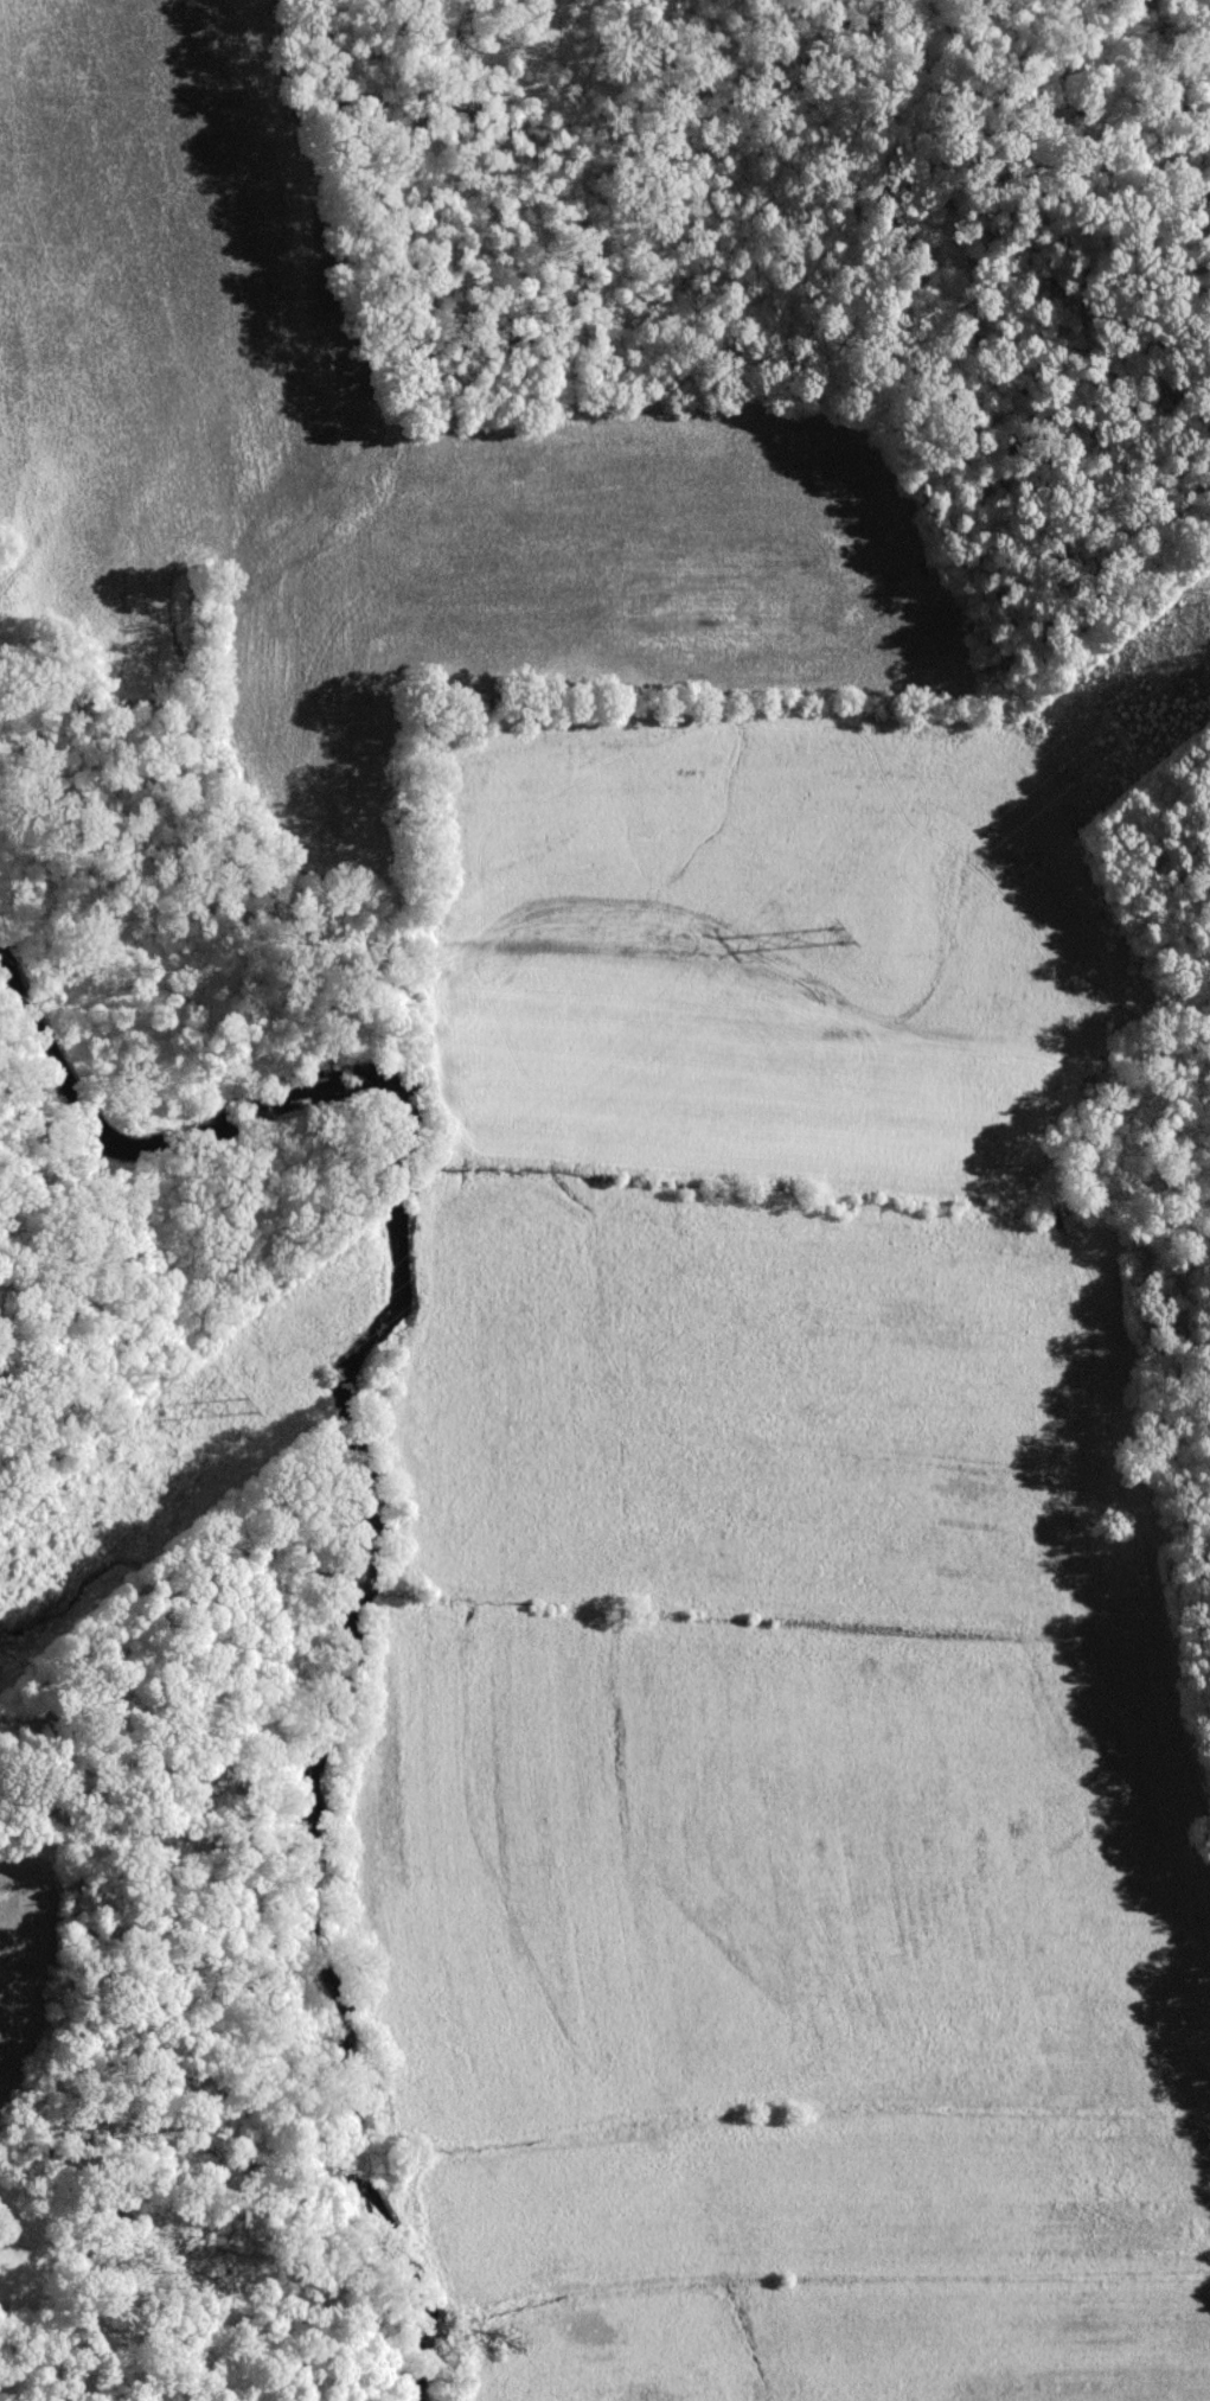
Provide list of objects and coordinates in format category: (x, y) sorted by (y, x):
power tower: (834, 934)
power tower: (242, 1403)

